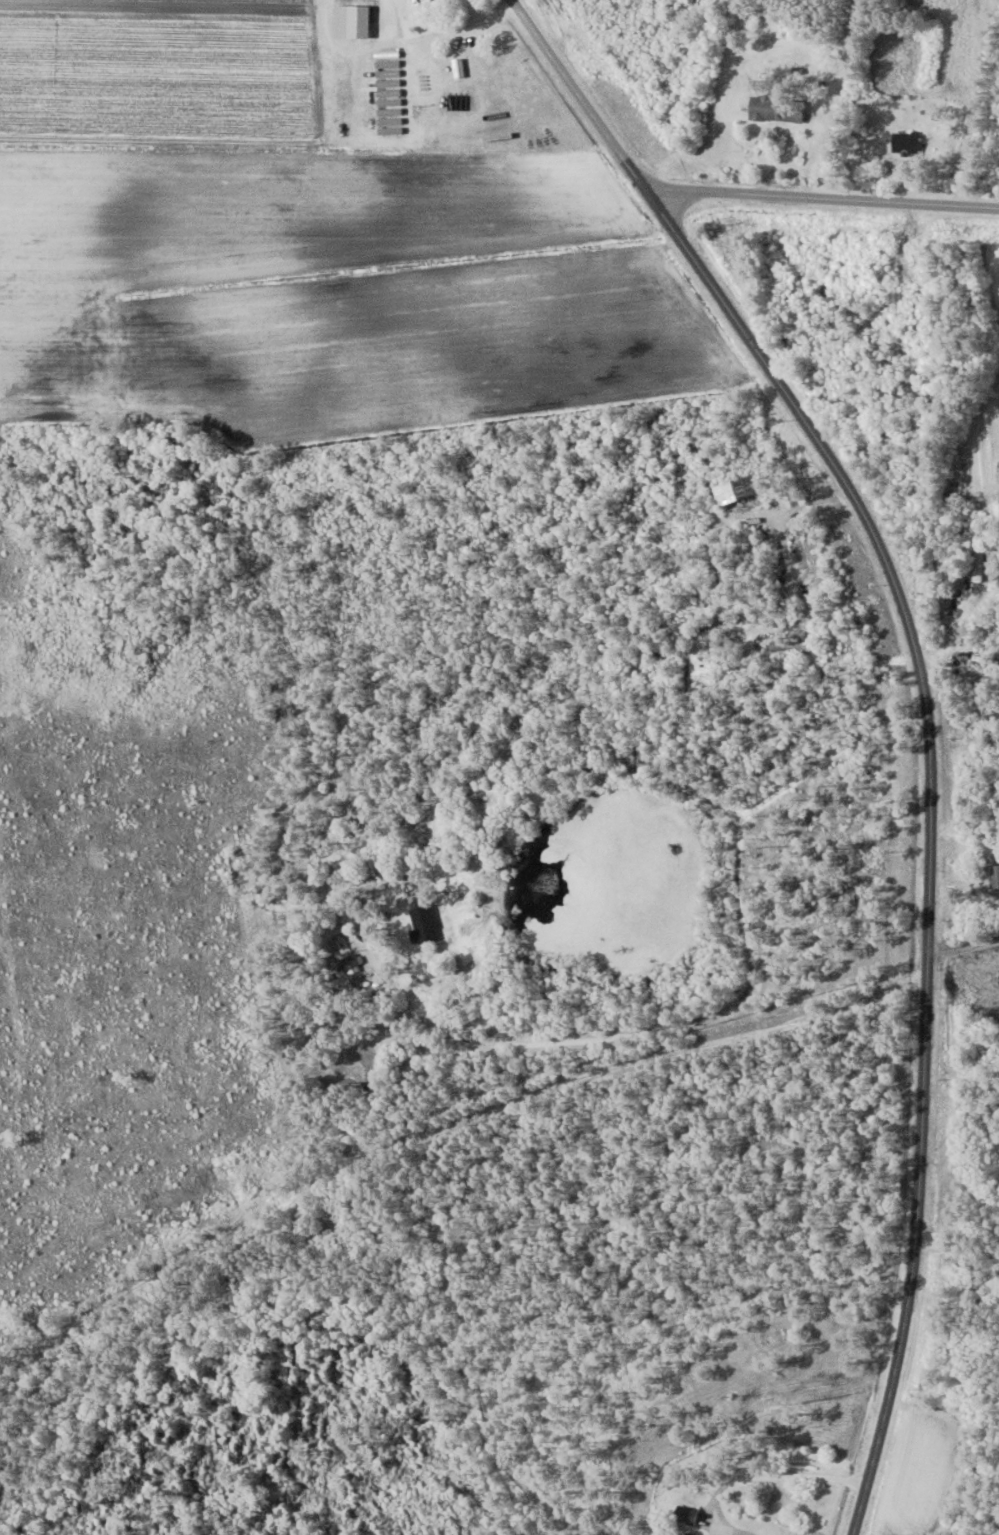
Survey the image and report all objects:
building: (434, 0)
building: (354, 21)
road: (578, 93)
building: (777, 109)
building: (906, 143)
road: (822, 196)
building: (737, 490)
building: (980, 561)
building: (792, 646)
road: (930, 826)
building: (995, 875)
building: (963, 917)
building: (424, 924)
building: (349, 961)
road: (748, 991)
road: (758, 1475)
building: (686, 1514)

